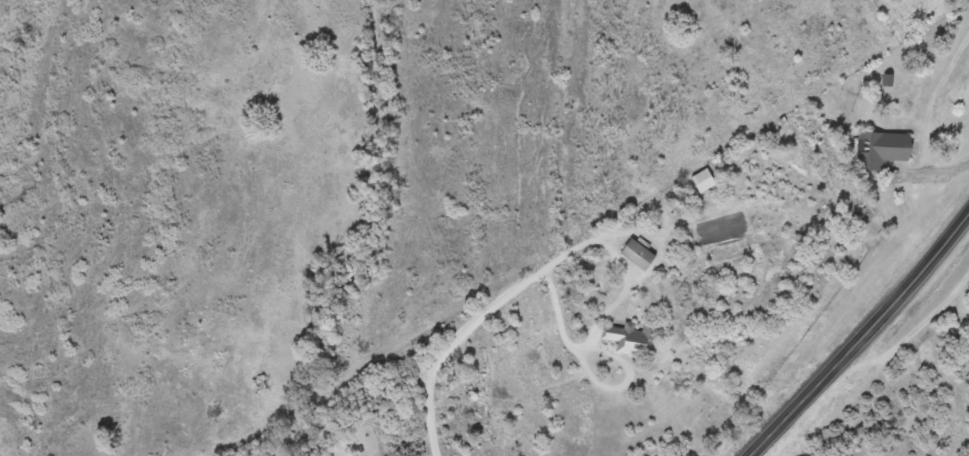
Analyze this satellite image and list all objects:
building: (881, 149)
building: (638, 254)
road: (860, 336)
building: (633, 338)

